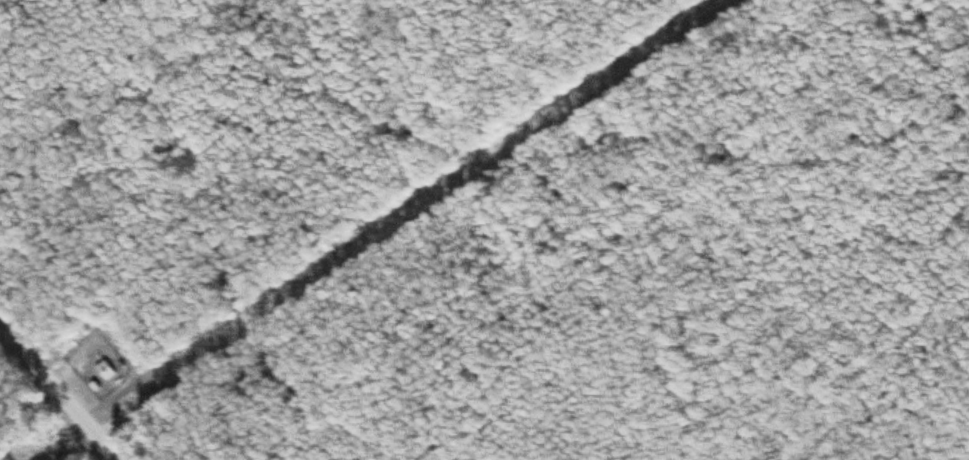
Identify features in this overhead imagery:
road: (61, 388)

